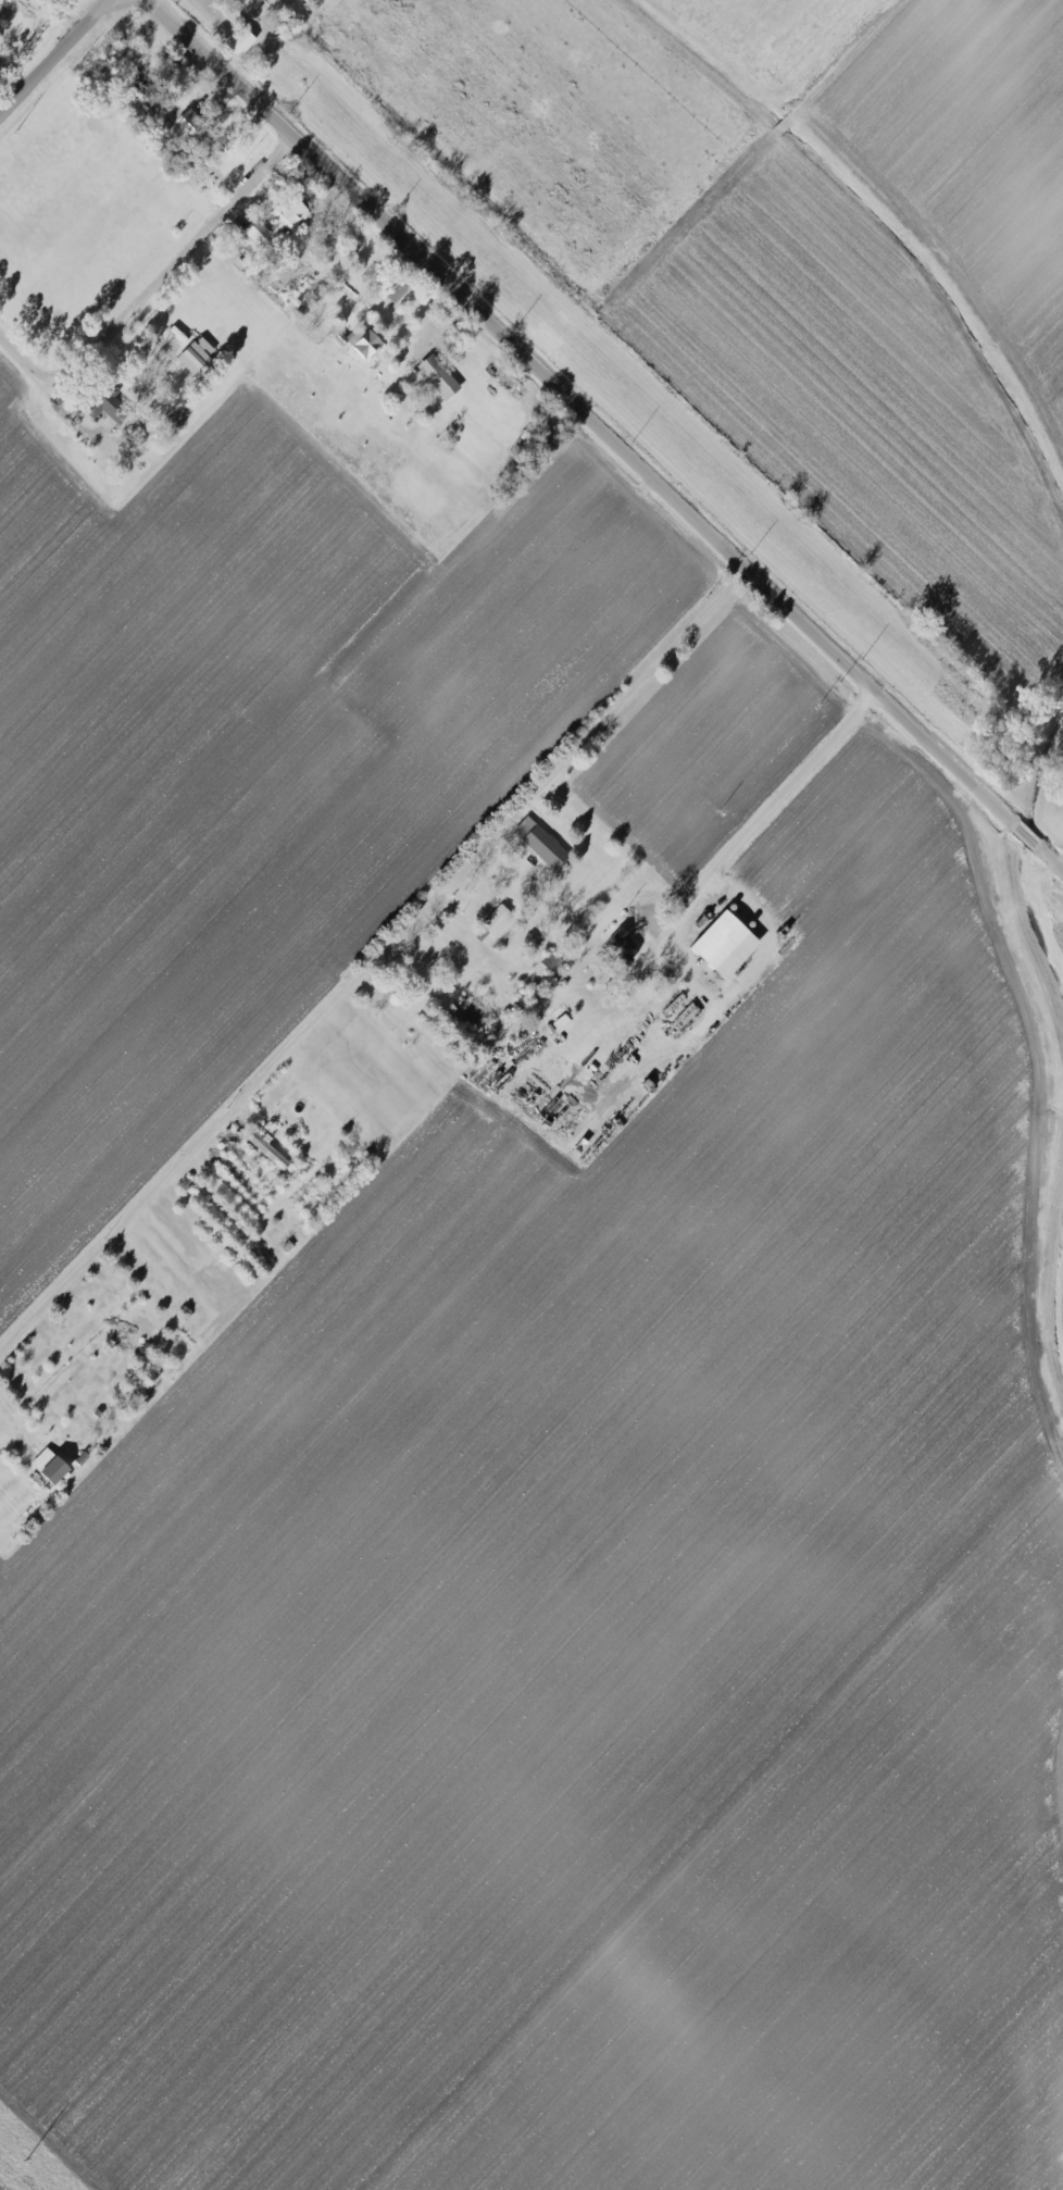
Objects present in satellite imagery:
building: (240, 42)
road: (53, 58)
building: (278, 223)
road: (154, 284)
building: (365, 344)
building: (193, 358)
building: (439, 376)
building: (109, 405)
road: (610, 431)
road: (443, 673)
building: (540, 842)
road: (688, 895)
building: (497, 919)
building: (624, 944)
building: (726, 944)
road: (373, 958)
building: (686, 1015)
building: (268, 1150)
road: (16, 1426)
building: (49, 1466)

